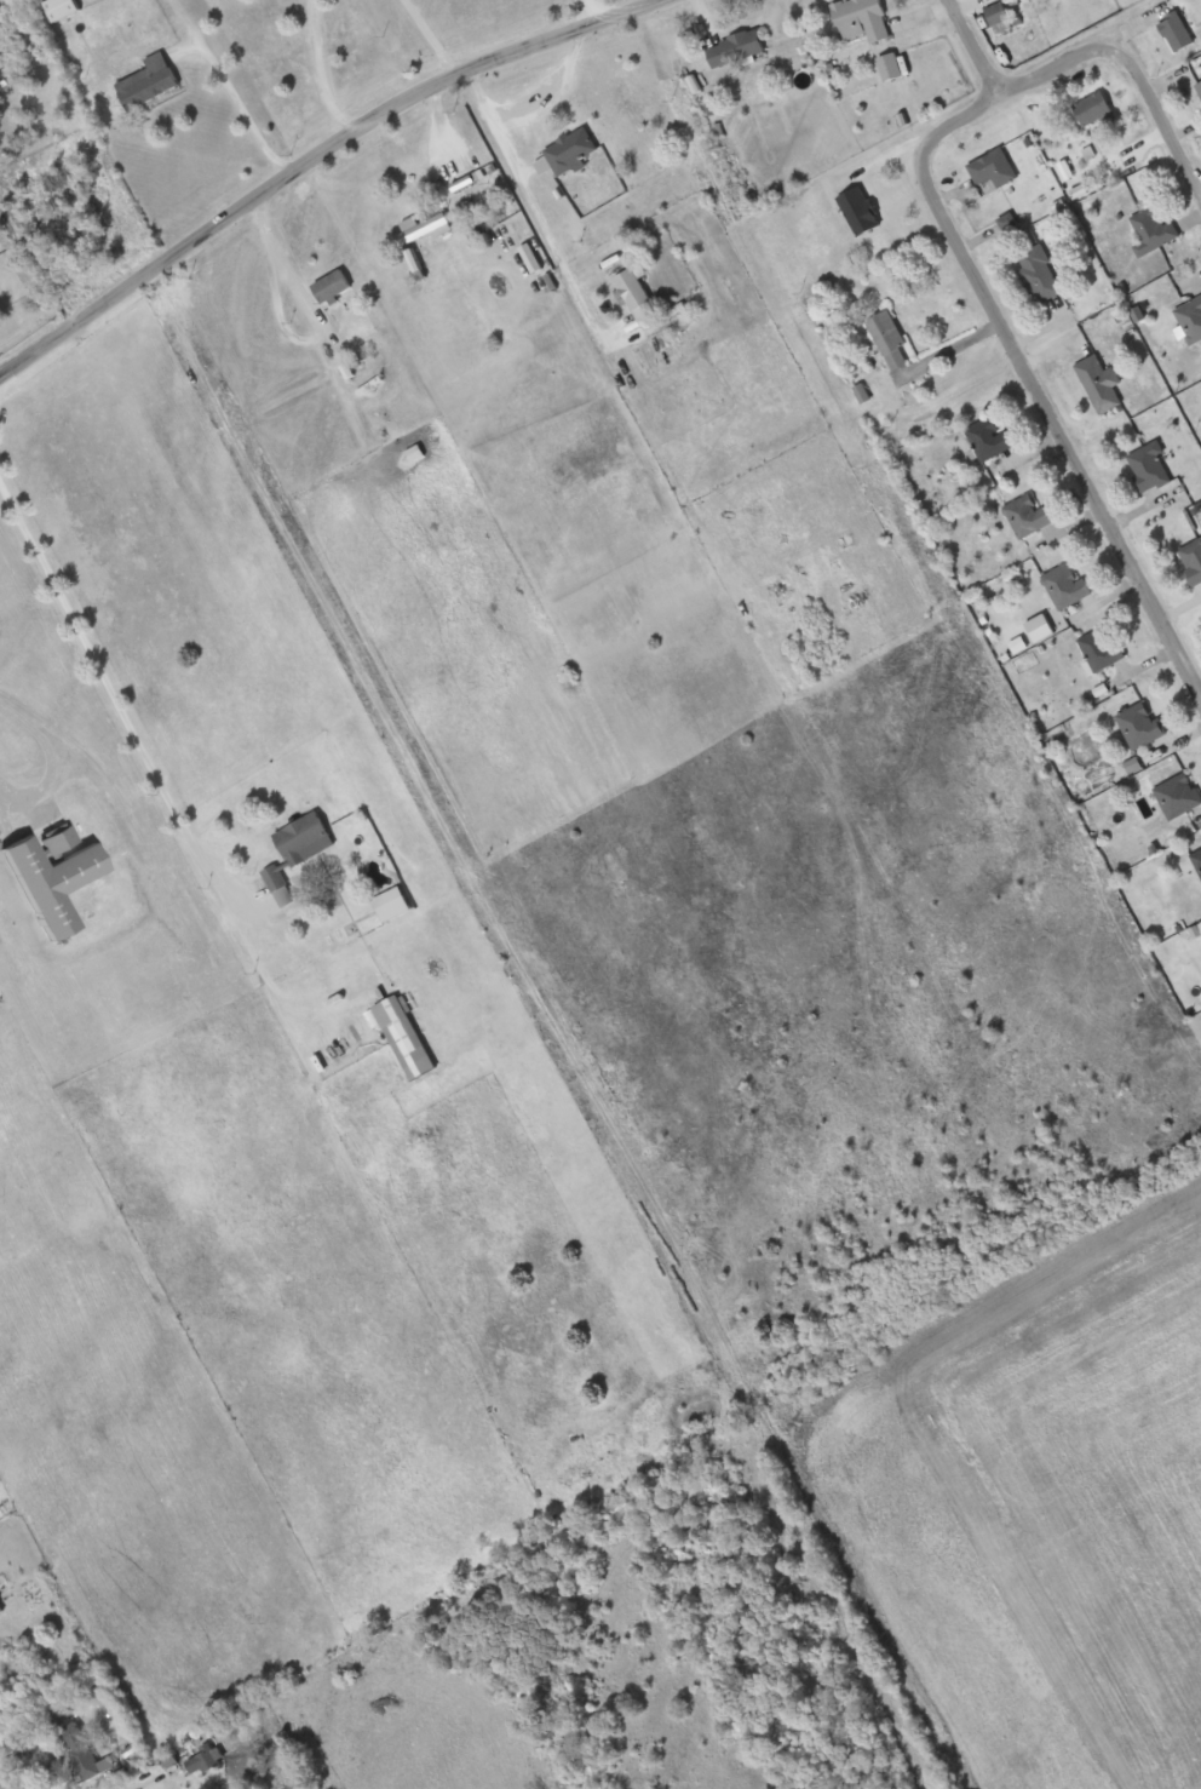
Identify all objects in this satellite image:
building: (61, 10)
building: (999, 12)
building: (861, 19)
building: (1177, 31)
building: (735, 47)
road: (976, 48)
building: (890, 67)
building: (150, 81)
building: (1199, 86)
building: (1093, 108)
road: (320, 150)
building: (567, 153)
building: (994, 168)
road: (507, 189)
building: (858, 211)
building: (424, 228)
building: (1154, 231)
road: (960, 237)
building: (1039, 274)
building: (332, 286)
building: (636, 297)
building: (1190, 319)
building: (890, 339)
building: (1099, 383)
building: (989, 437)
building: (1150, 466)
building: (1027, 515)
building: (1193, 561)
building: (1065, 586)
building: (1102, 647)
road: (115, 705)
building: (1140, 724)
road: (50, 757)
building: (1179, 795)
building: (301, 837)
building: (62, 839)
building: (1197, 859)
building: (57, 881)
building: (280, 884)
building: (391, 904)
building: (404, 1037)
building: (1, 1609)
building: (16, 1658)
building: (77, 1739)
building: (202, 1762)
building: (171, 1764)
road: (5, 1777)

